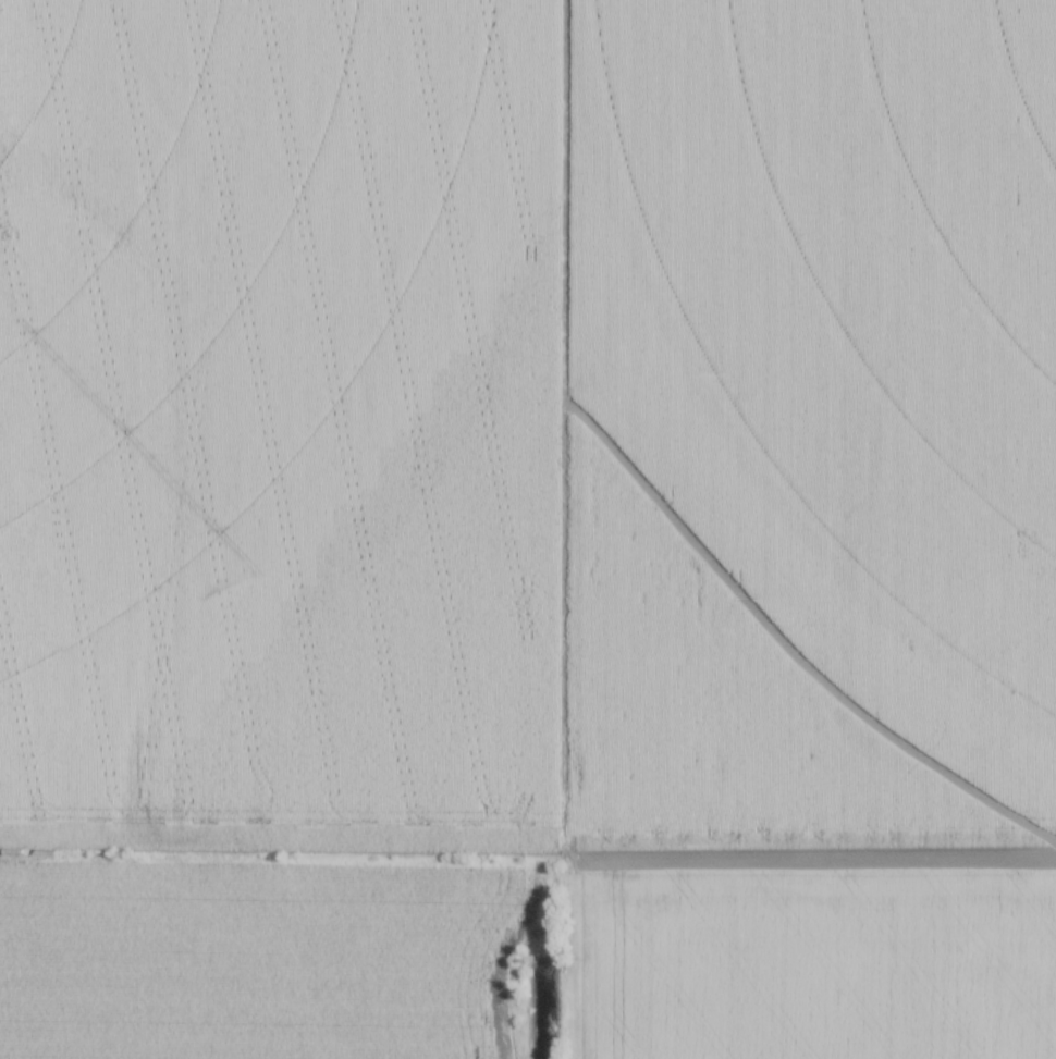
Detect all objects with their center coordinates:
crop: (529, 519)
road: (823, 857)

